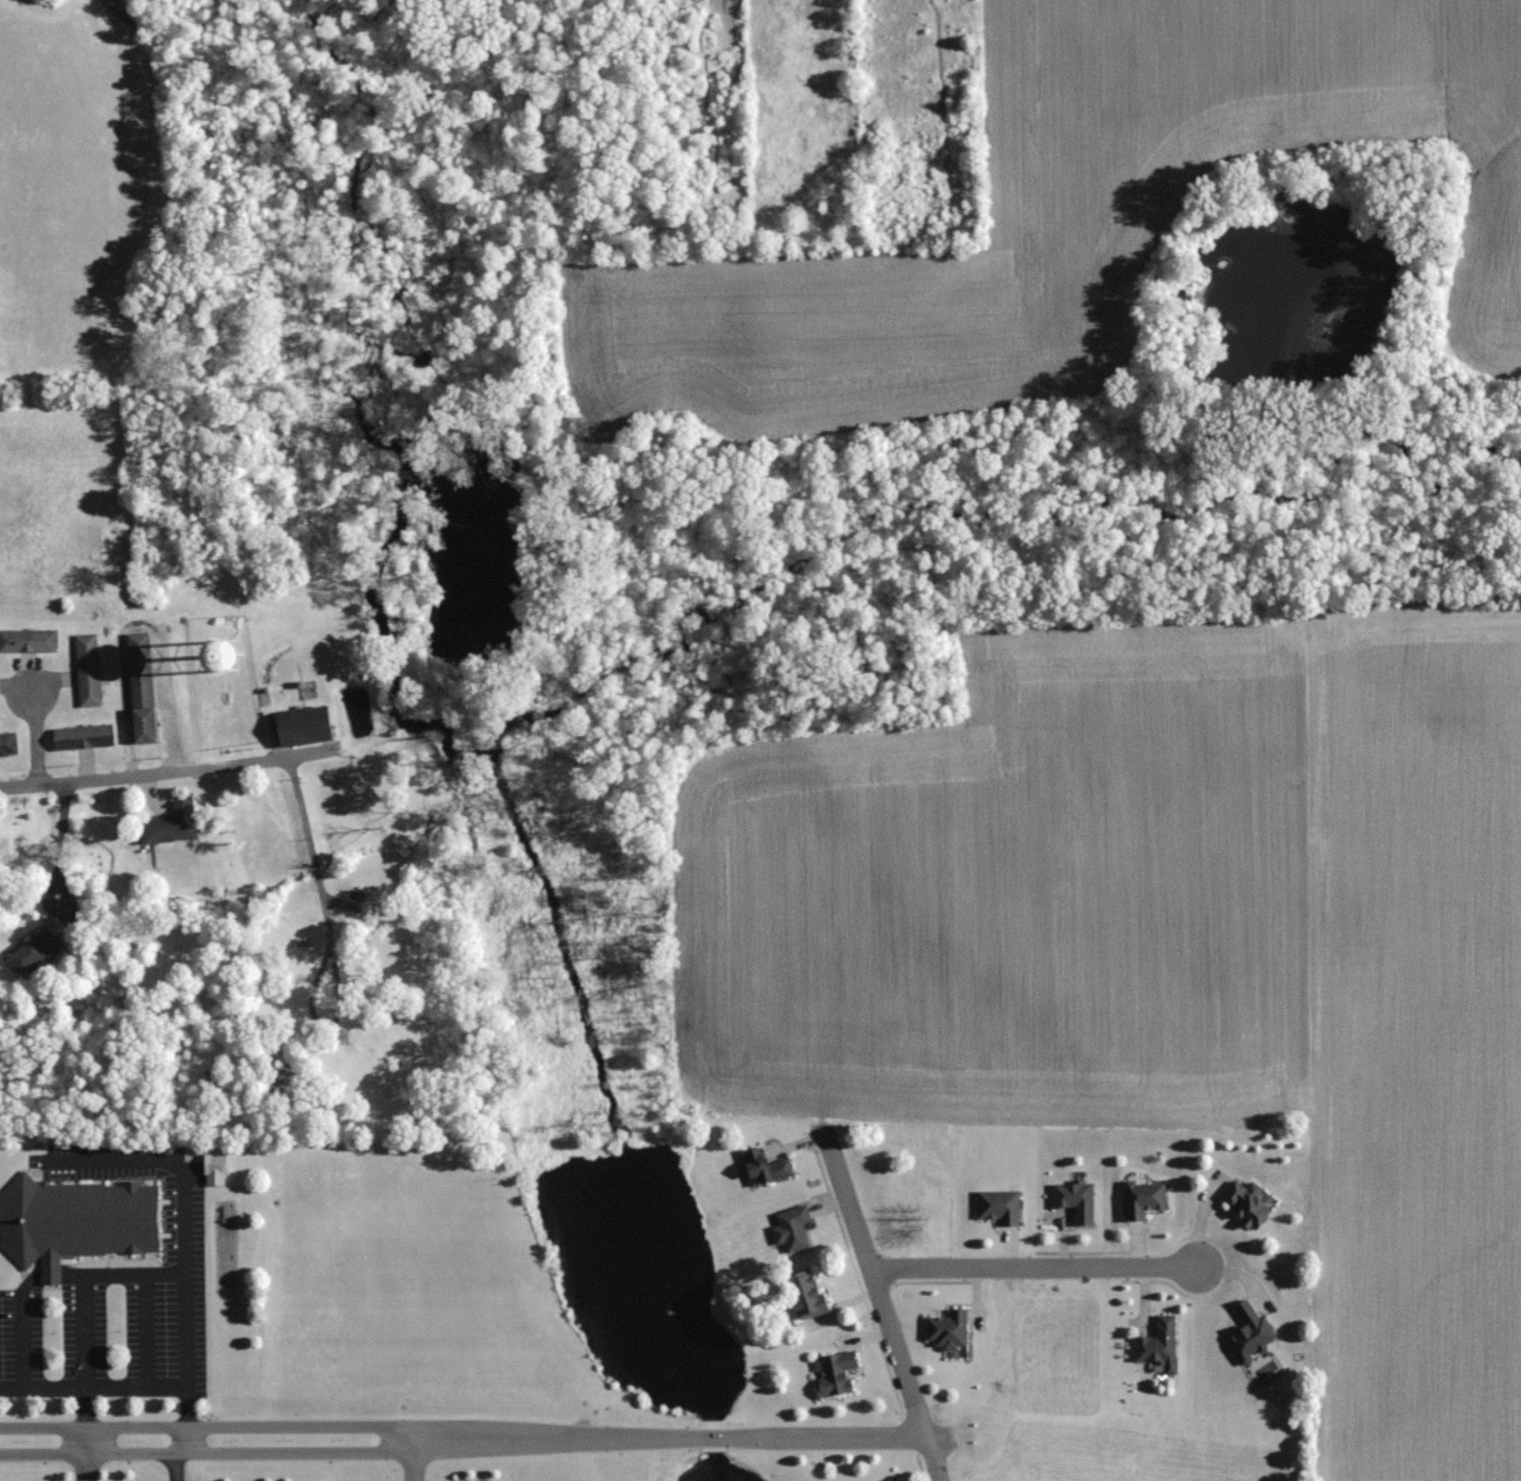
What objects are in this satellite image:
road: (138, 623)
building: (28, 640)
building: (87, 670)
building: (140, 687)
building: (302, 726)
road: (35, 727)
building: (82, 736)
building: (7, 744)
road: (165, 772)
building: (170, 824)
road: (60, 842)
building: (32, 951)
building: (212, 1076)
building: (764, 1167)
building: (213, 1168)
building: (1142, 1197)
building: (1074, 1199)
building: (1245, 1201)
building: (998, 1205)
building: (74, 1220)
building: (792, 1228)
road: (1032, 1267)
road: (132, 1277)
building: (804, 1293)
road: (883, 1310)
building: (947, 1329)
building: (1249, 1331)
building: (1158, 1344)
building: (834, 1373)
road: (283, 1425)
road: (870, 1435)
road: (413, 1438)
road: (181, 1440)
road: (84, 1441)
road: (283, 1453)
road: (413, 1466)
road: (174, 1467)
road: (83, 1468)
building: (891, 1480)

